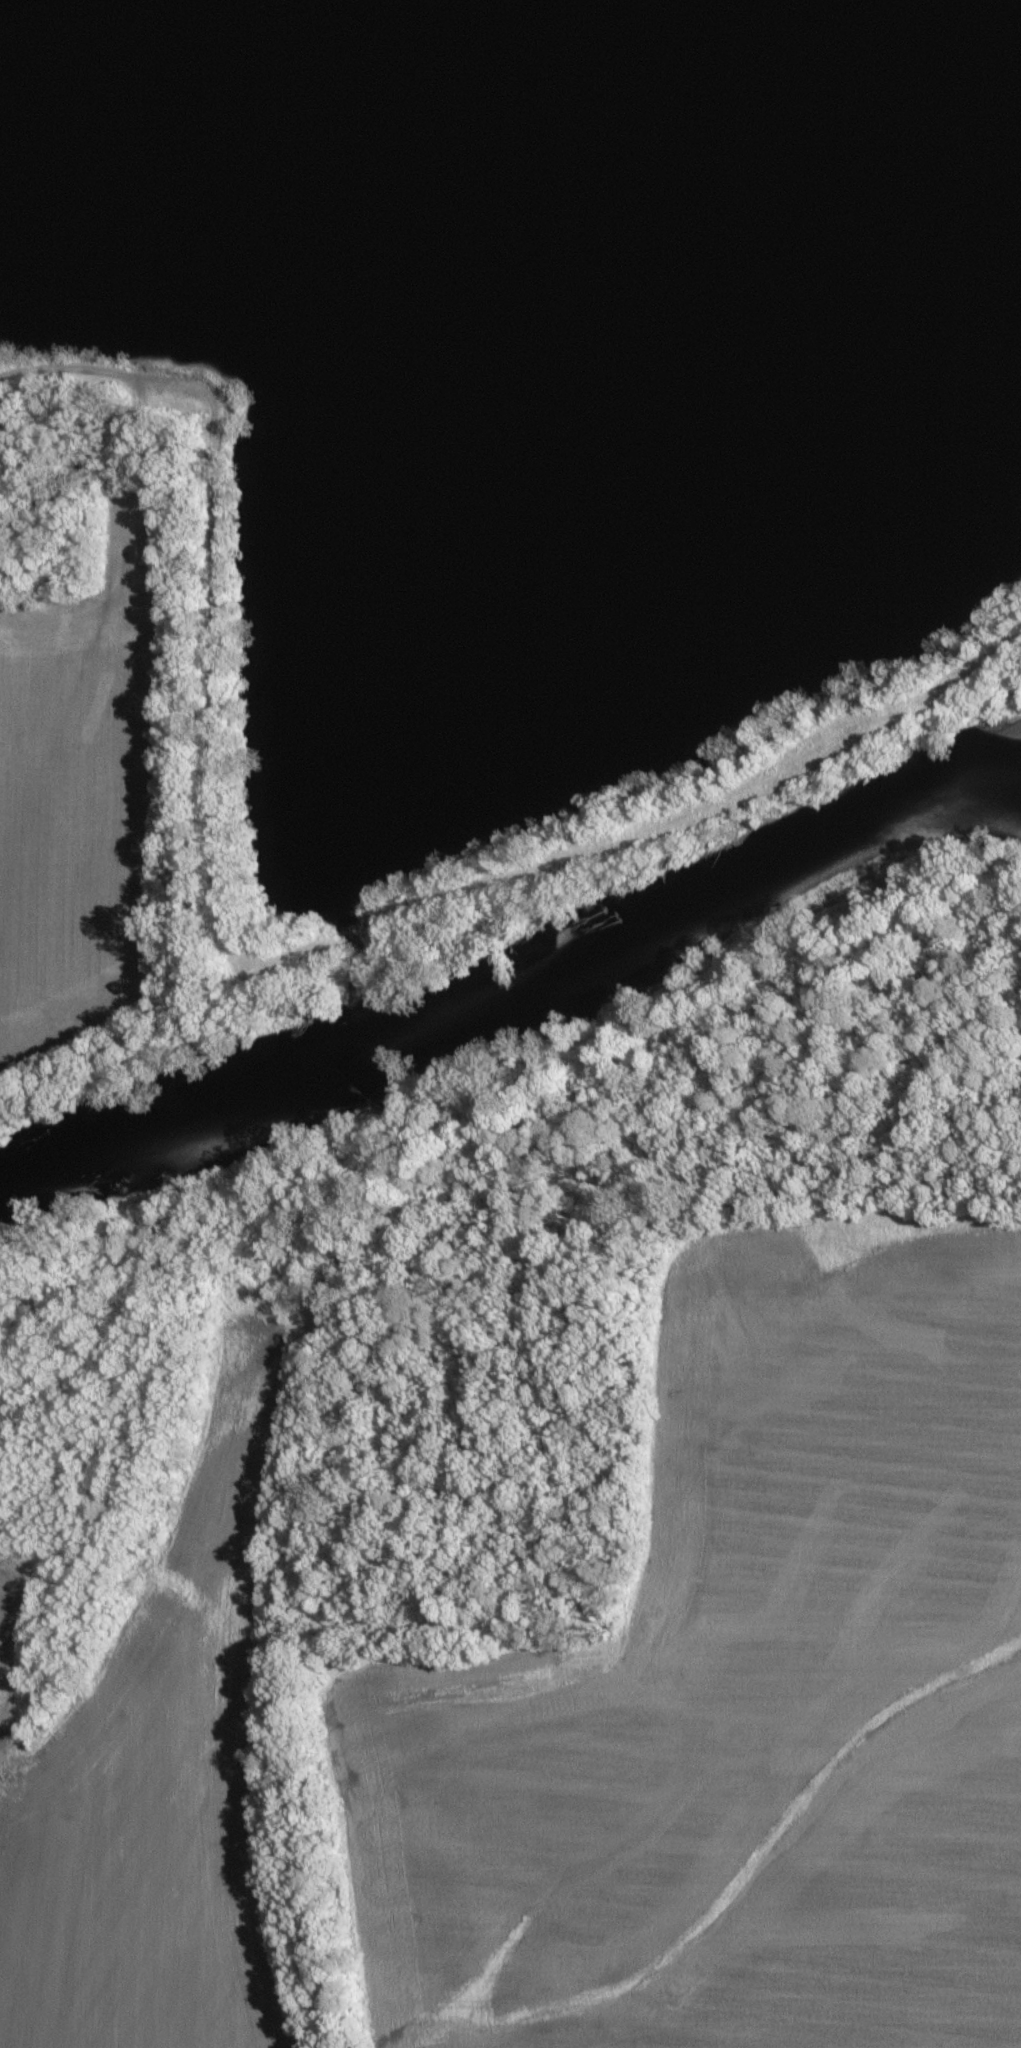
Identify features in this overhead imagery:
river: (515, 985)

